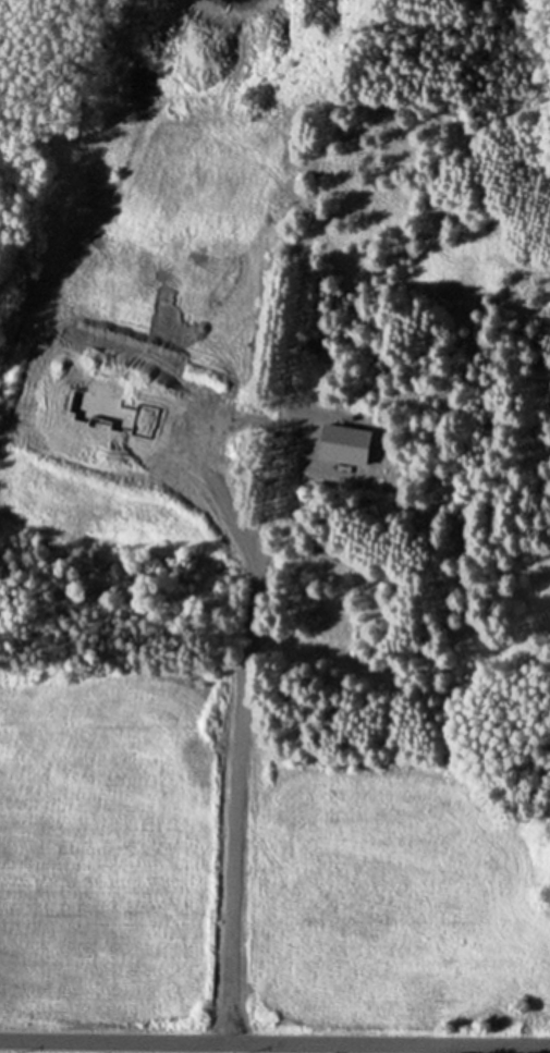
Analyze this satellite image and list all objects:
road: (274, 1042)

